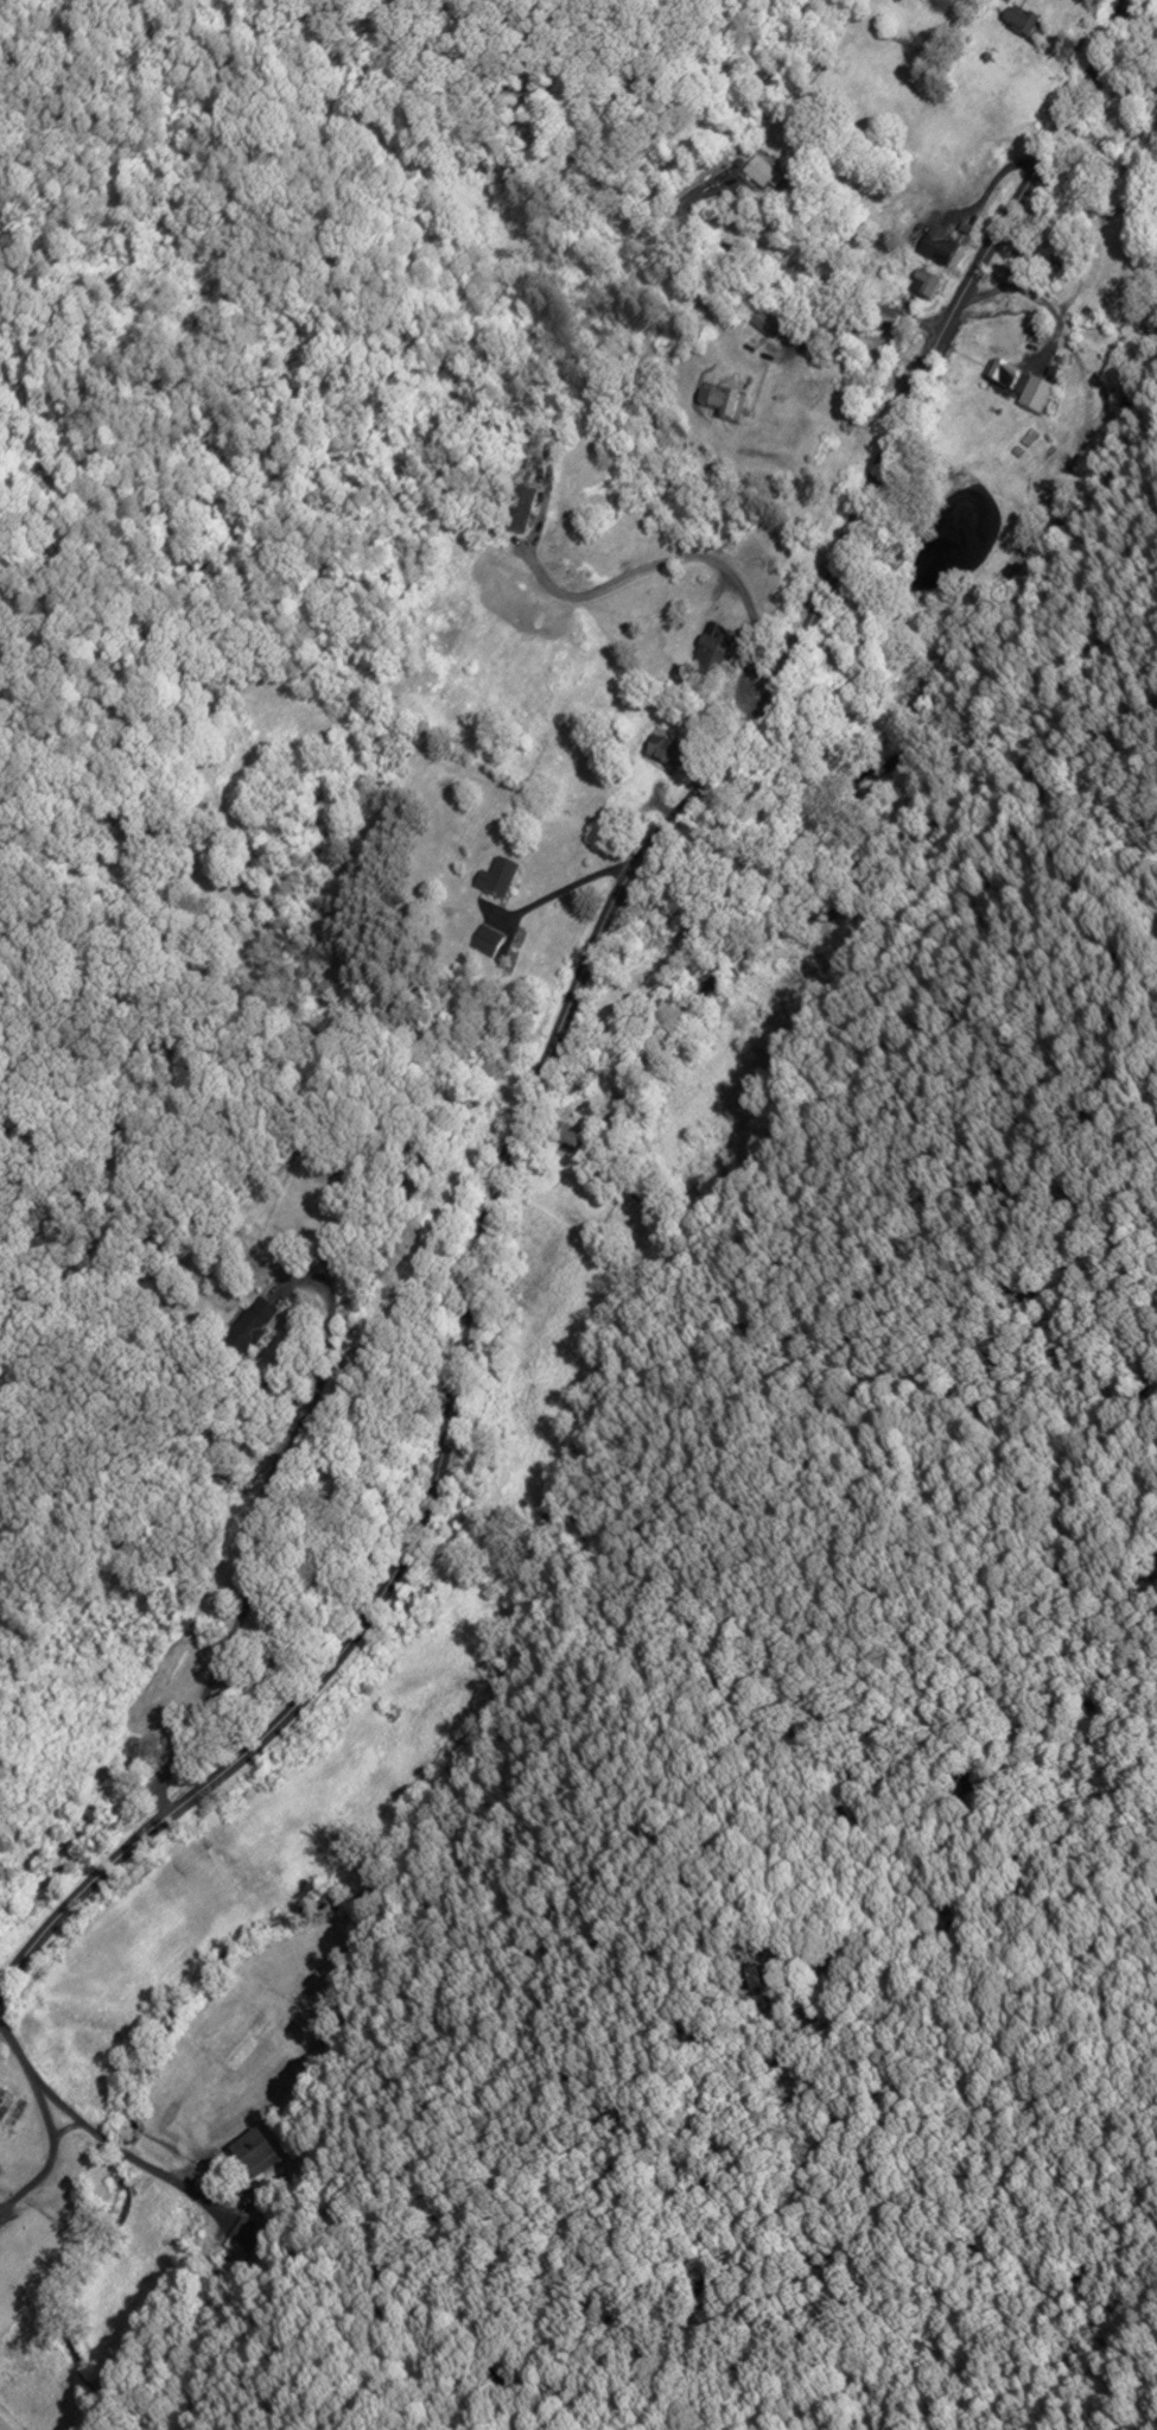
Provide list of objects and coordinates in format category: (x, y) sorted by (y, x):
road: (765, 258)
road: (923, 318)
road: (670, 819)
road: (259, 1522)
road: (153, 1828)
road: (94, 2127)
road: (52, 2143)

